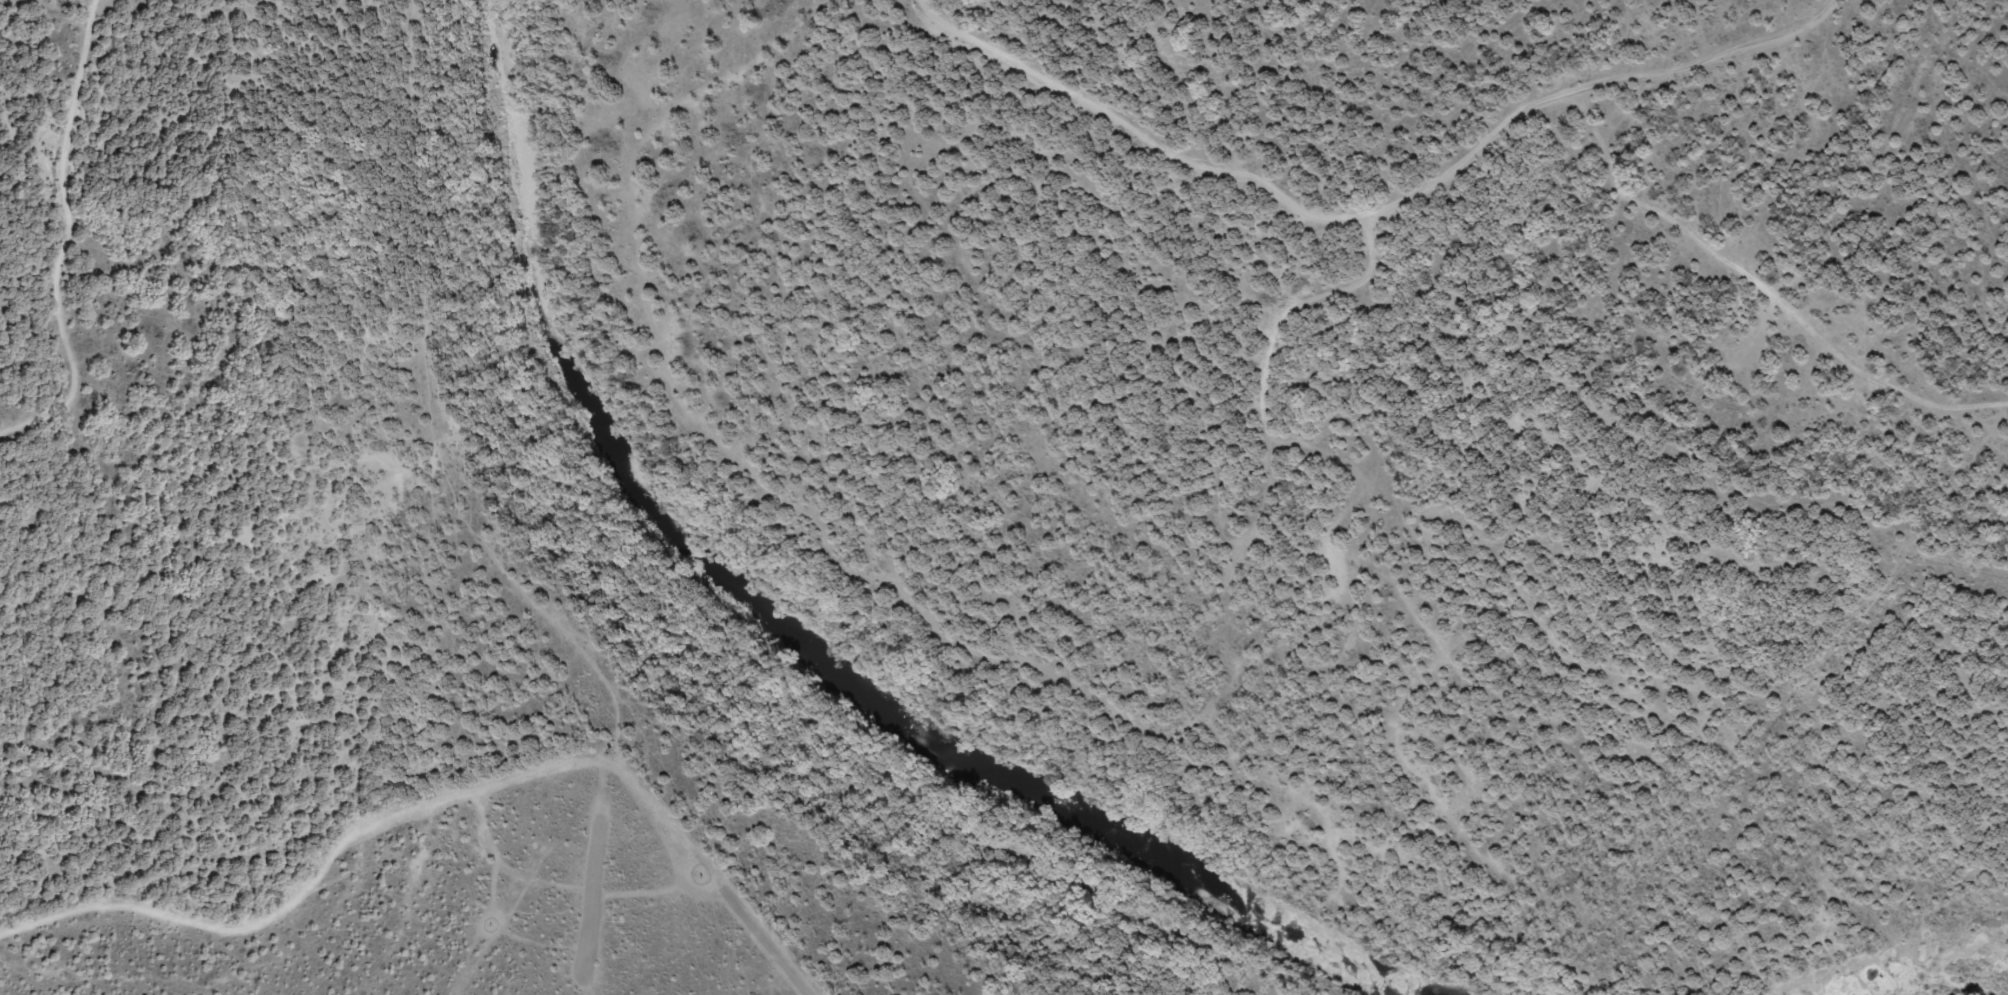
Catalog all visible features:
road: (1321, 197)

